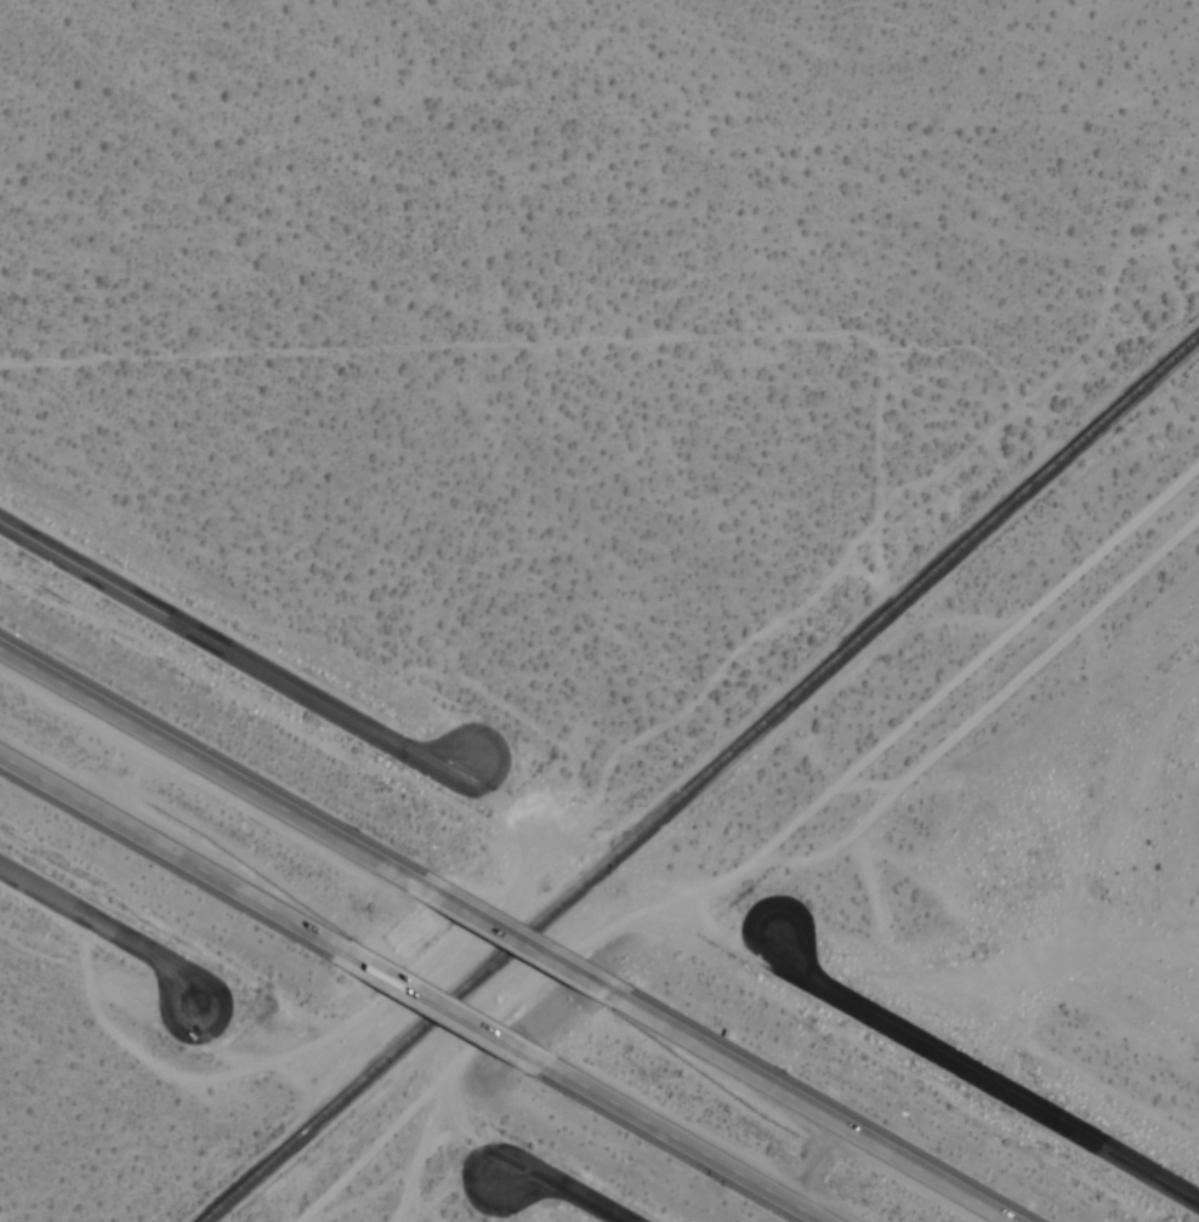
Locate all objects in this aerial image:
road: (599, 278)
crop: (615, 325)
road: (233, 655)
road: (208, 762)
railway: (698, 774)
crop: (1041, 803)
road: (171, 851)
road: (107, 928)
road: (517, 940)
road: (444, 1008)
road: (979, 1076)
road: (814, 1109)
road: (684, 1144)
road: (566, 1188)

